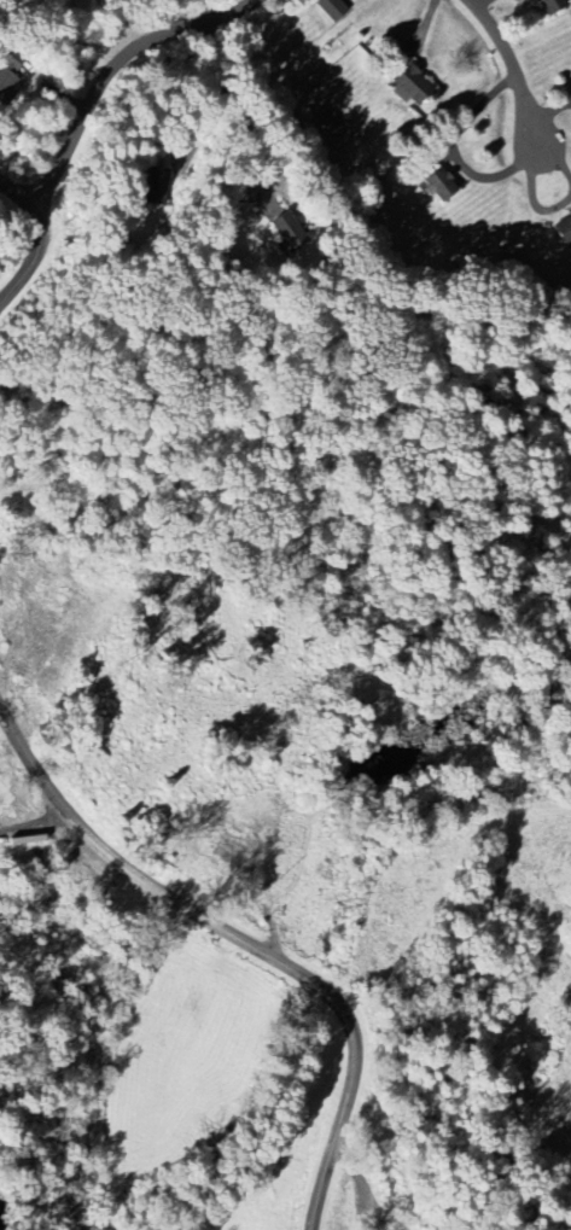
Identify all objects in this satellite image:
building: (547, 6)
road: (107, 65)
road: (503, 71)
building: (6, 84)
building: (407, 86)
road: (234, 106)
building: (436, 186)
building: (561, 229)
road: (42, 232)
road: (250, 944)

